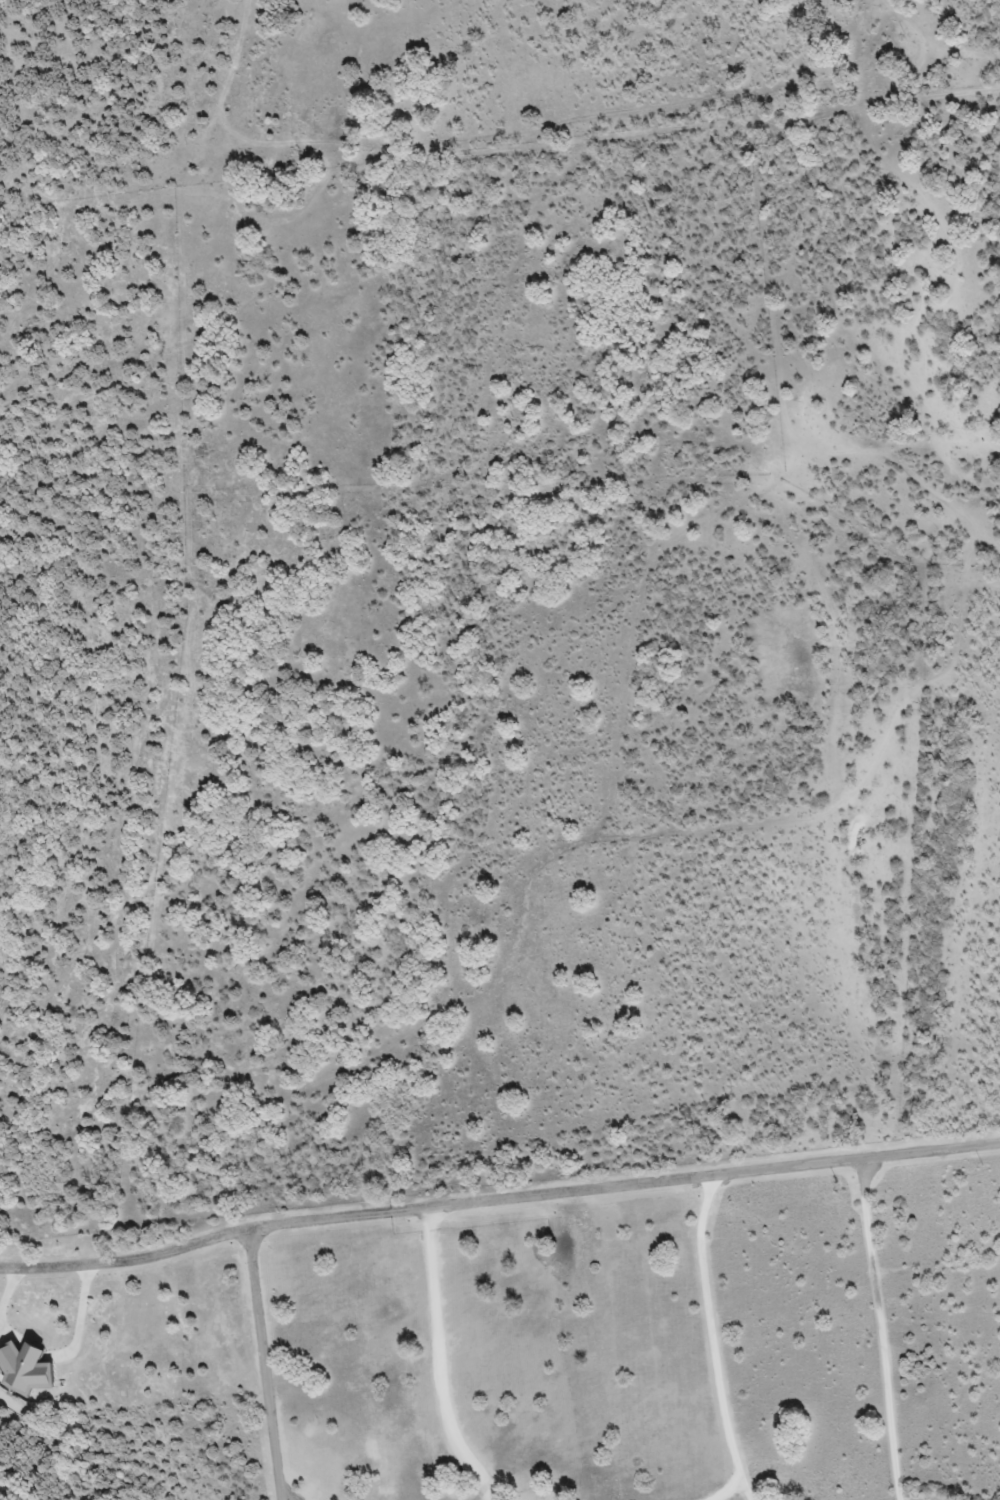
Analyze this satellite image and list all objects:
road: (498, 1199)
road: (879, 1329)
road: (711, 1338)
road: (440, 1359)
road: (263, 1365)
building: (32, 1369)
road: (726, 1491)

